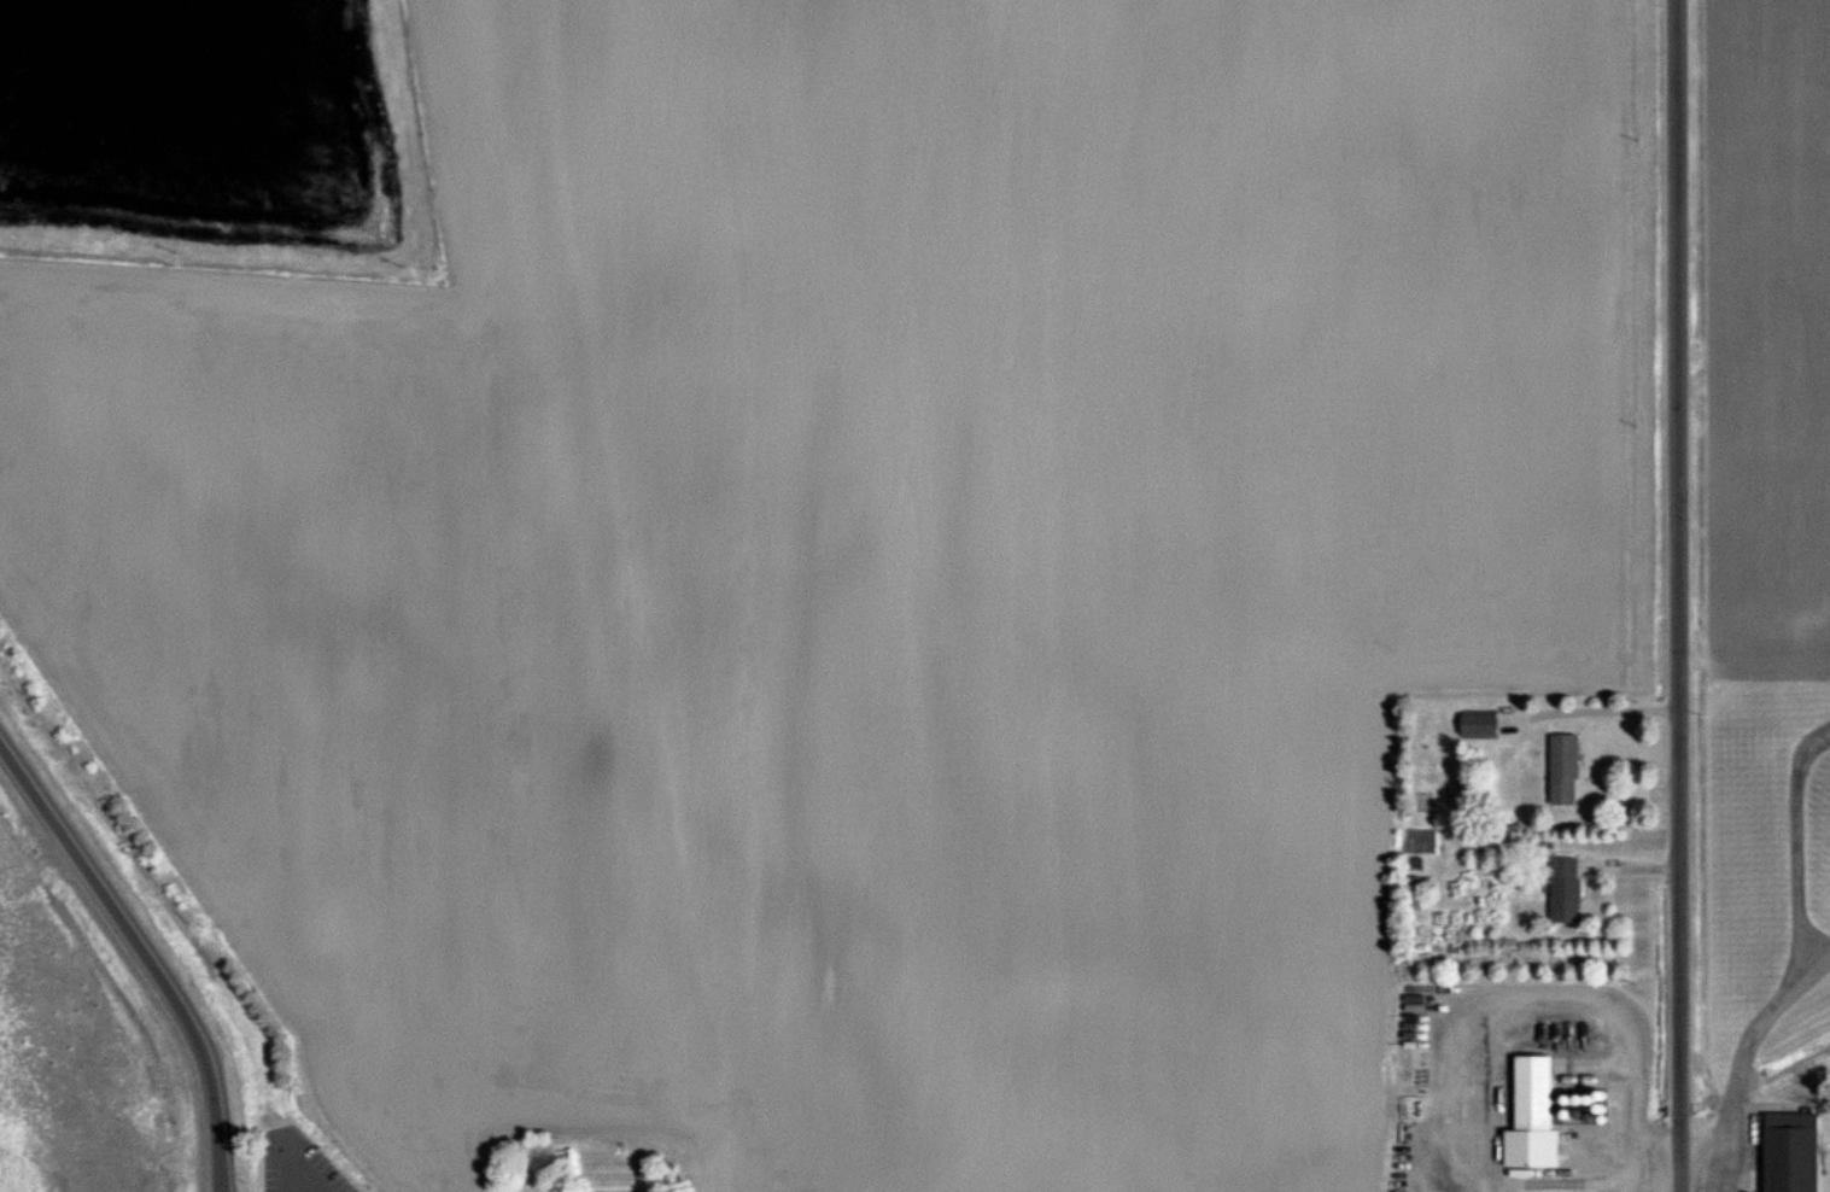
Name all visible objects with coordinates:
road: (1673, 596)
building: (1480, 725)
building: (1566, 770)
road: (1790, 835)
building: (1566, 890)
road: (144, 954)
road: (1811, 954)
road: (1726, 1071)
building: (1534, 1091)
building: (1793, 1153)
building: (1561, 1157)
parking lot: (297, 1163)
road: (302, 1169)
building: (619, 1191)

